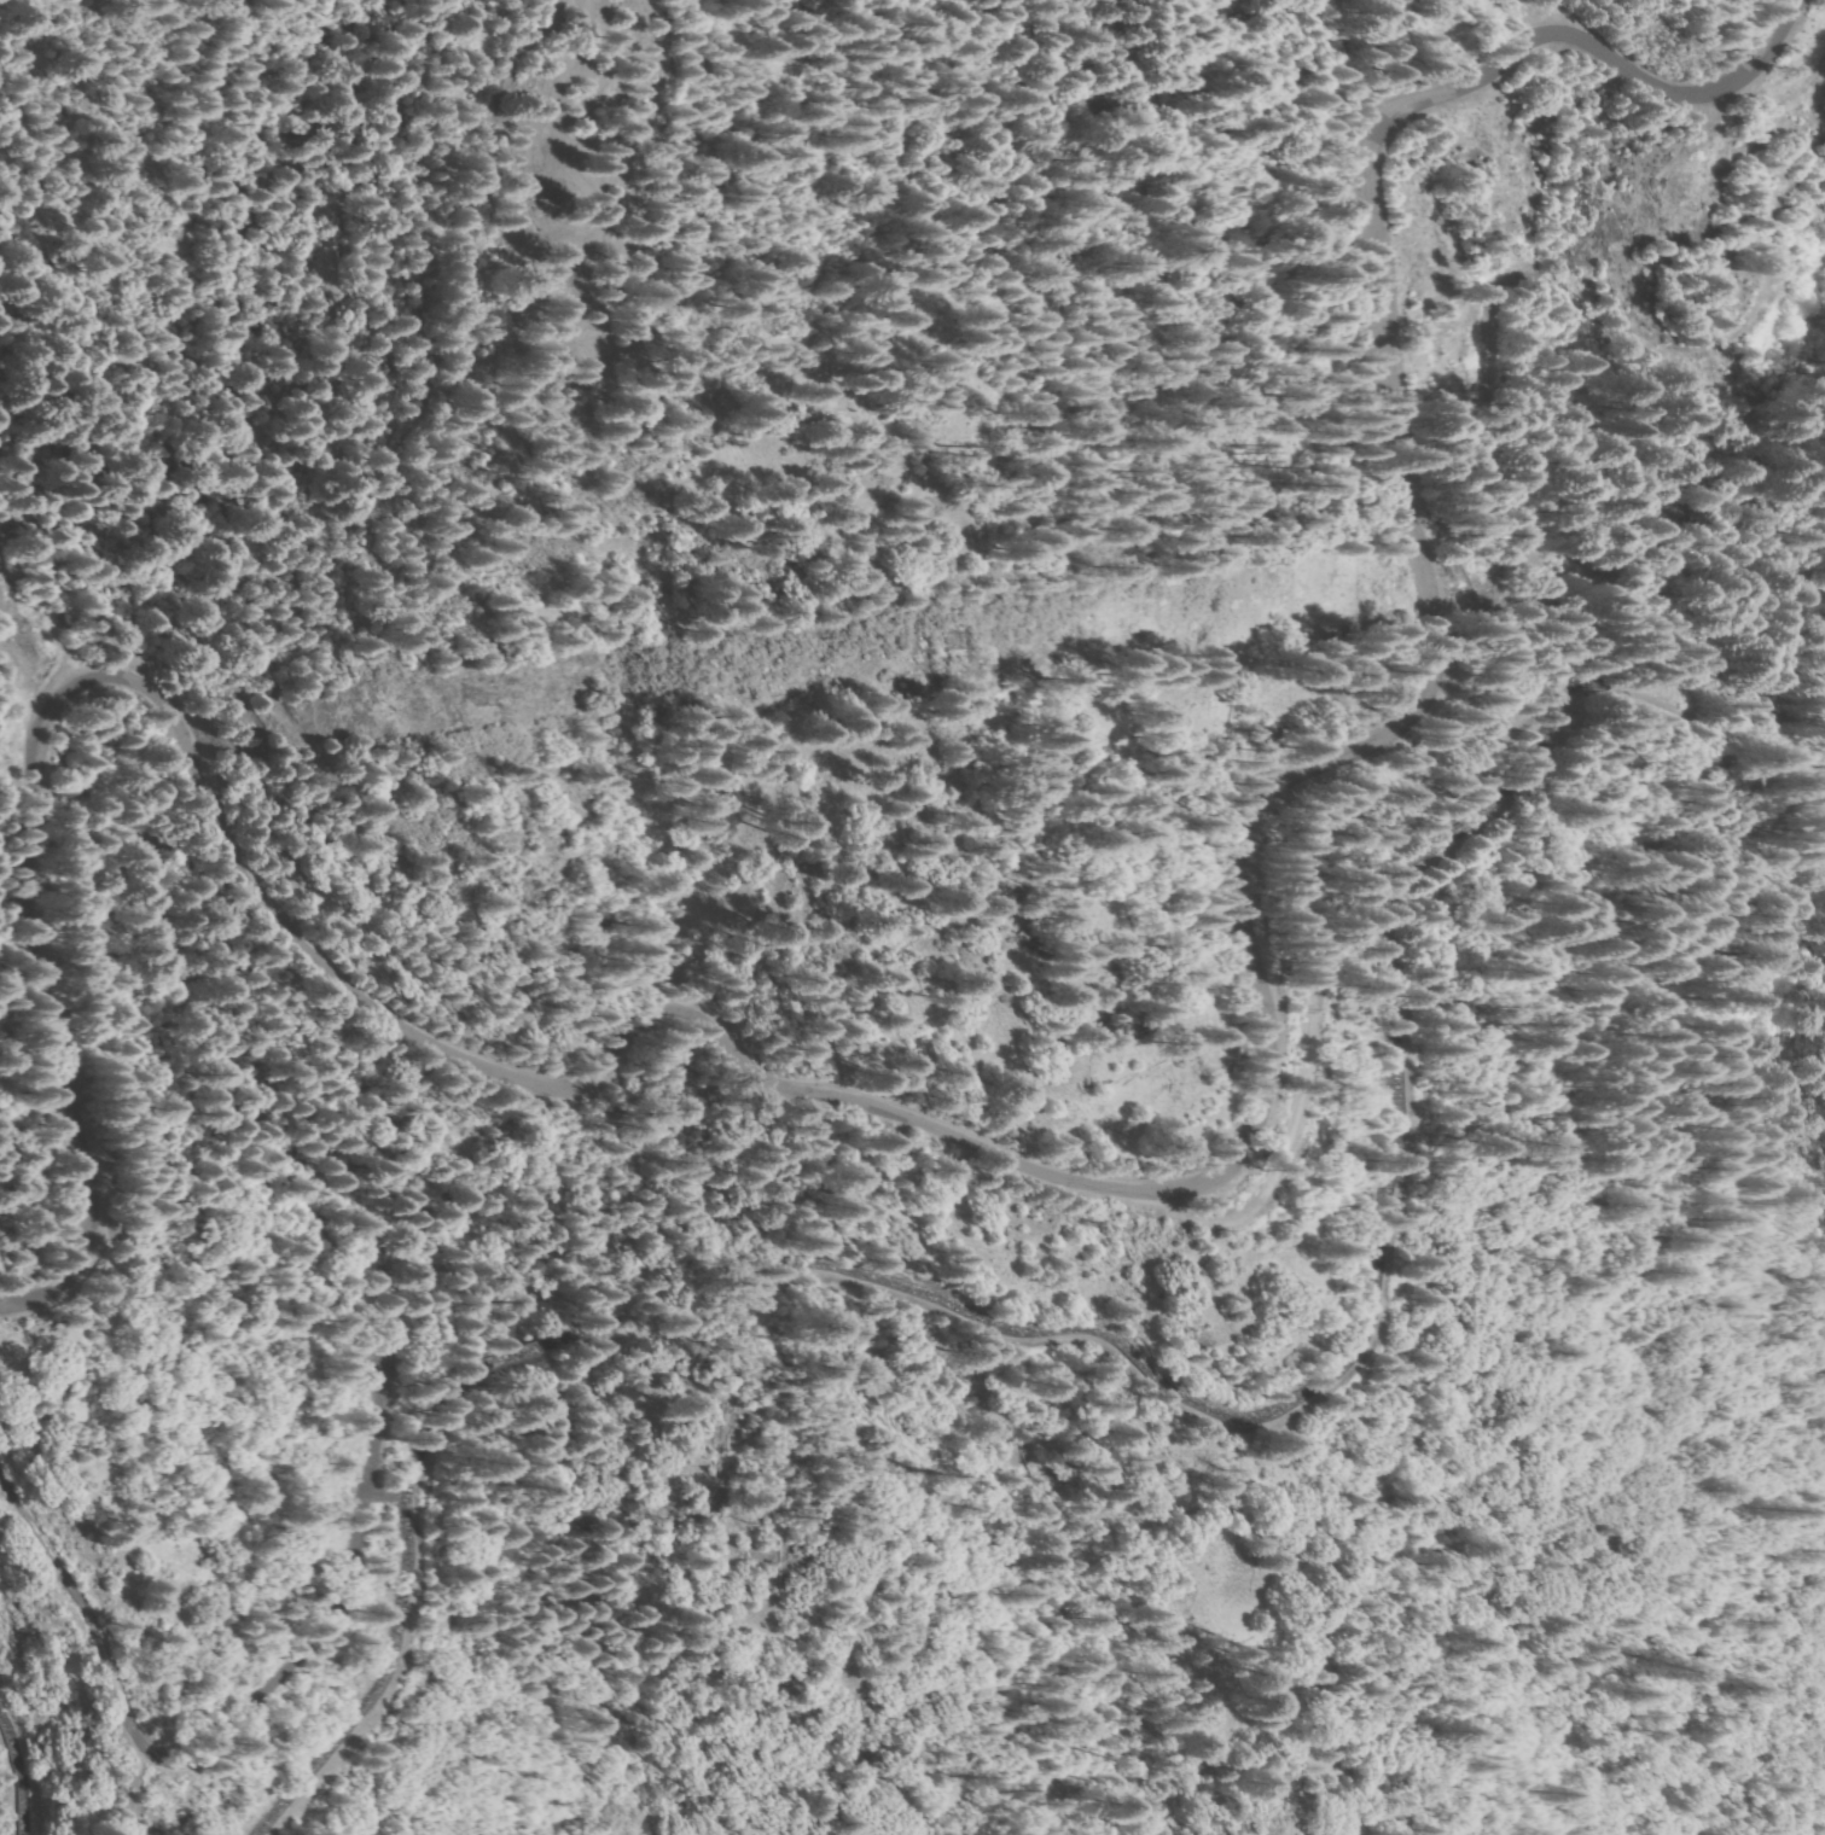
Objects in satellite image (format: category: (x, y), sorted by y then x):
power tower: (952, 645)
power tower: (482, 703)
road: (924, 1142)

